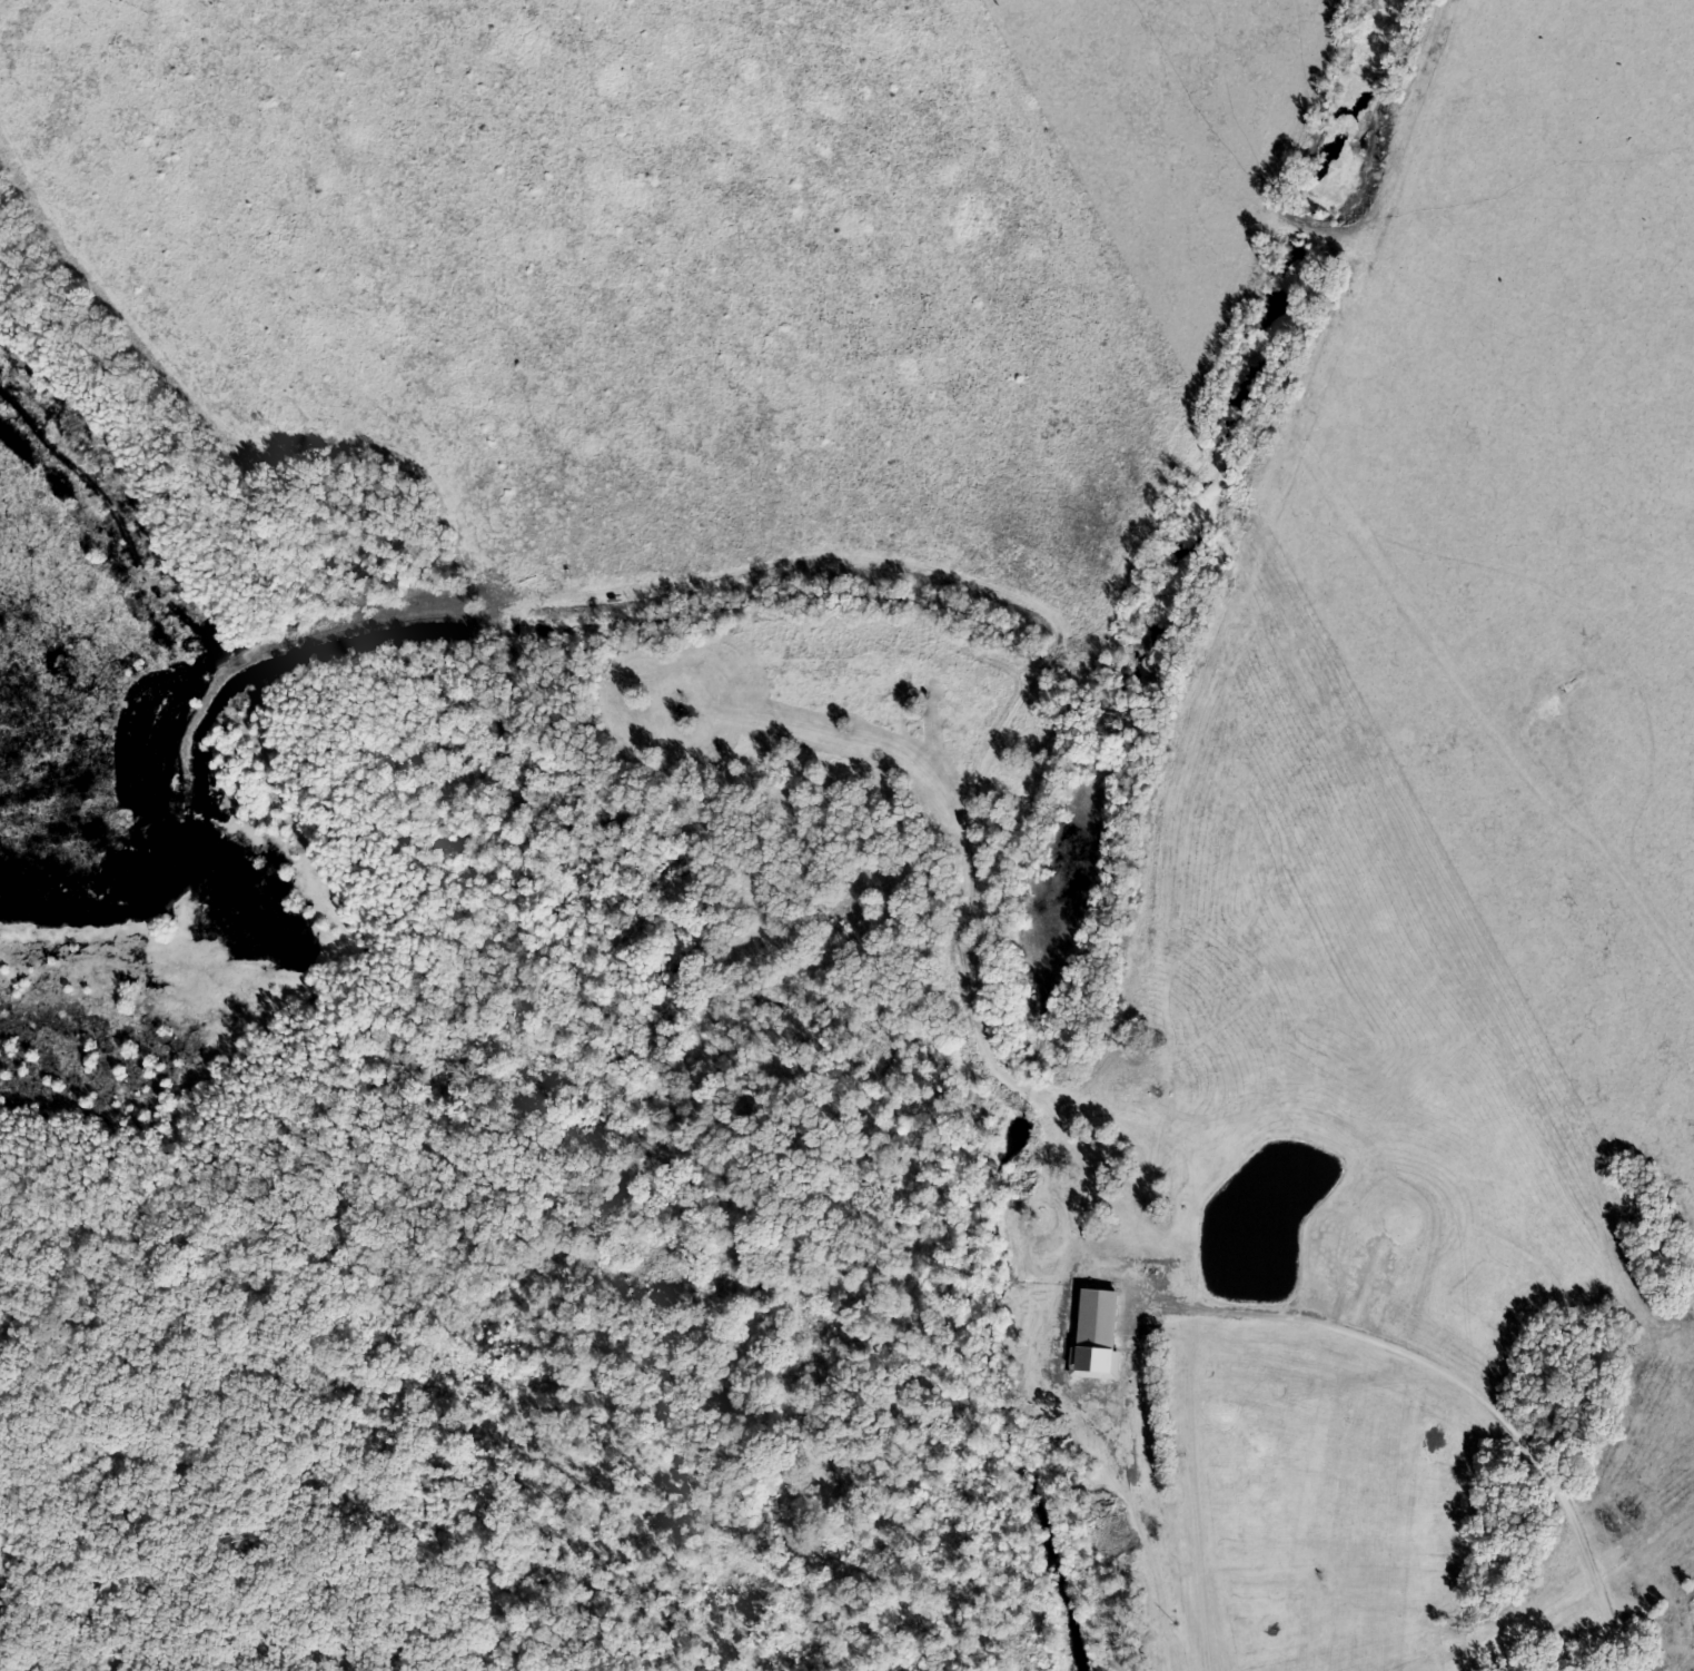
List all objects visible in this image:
building: (1101, 1337)

